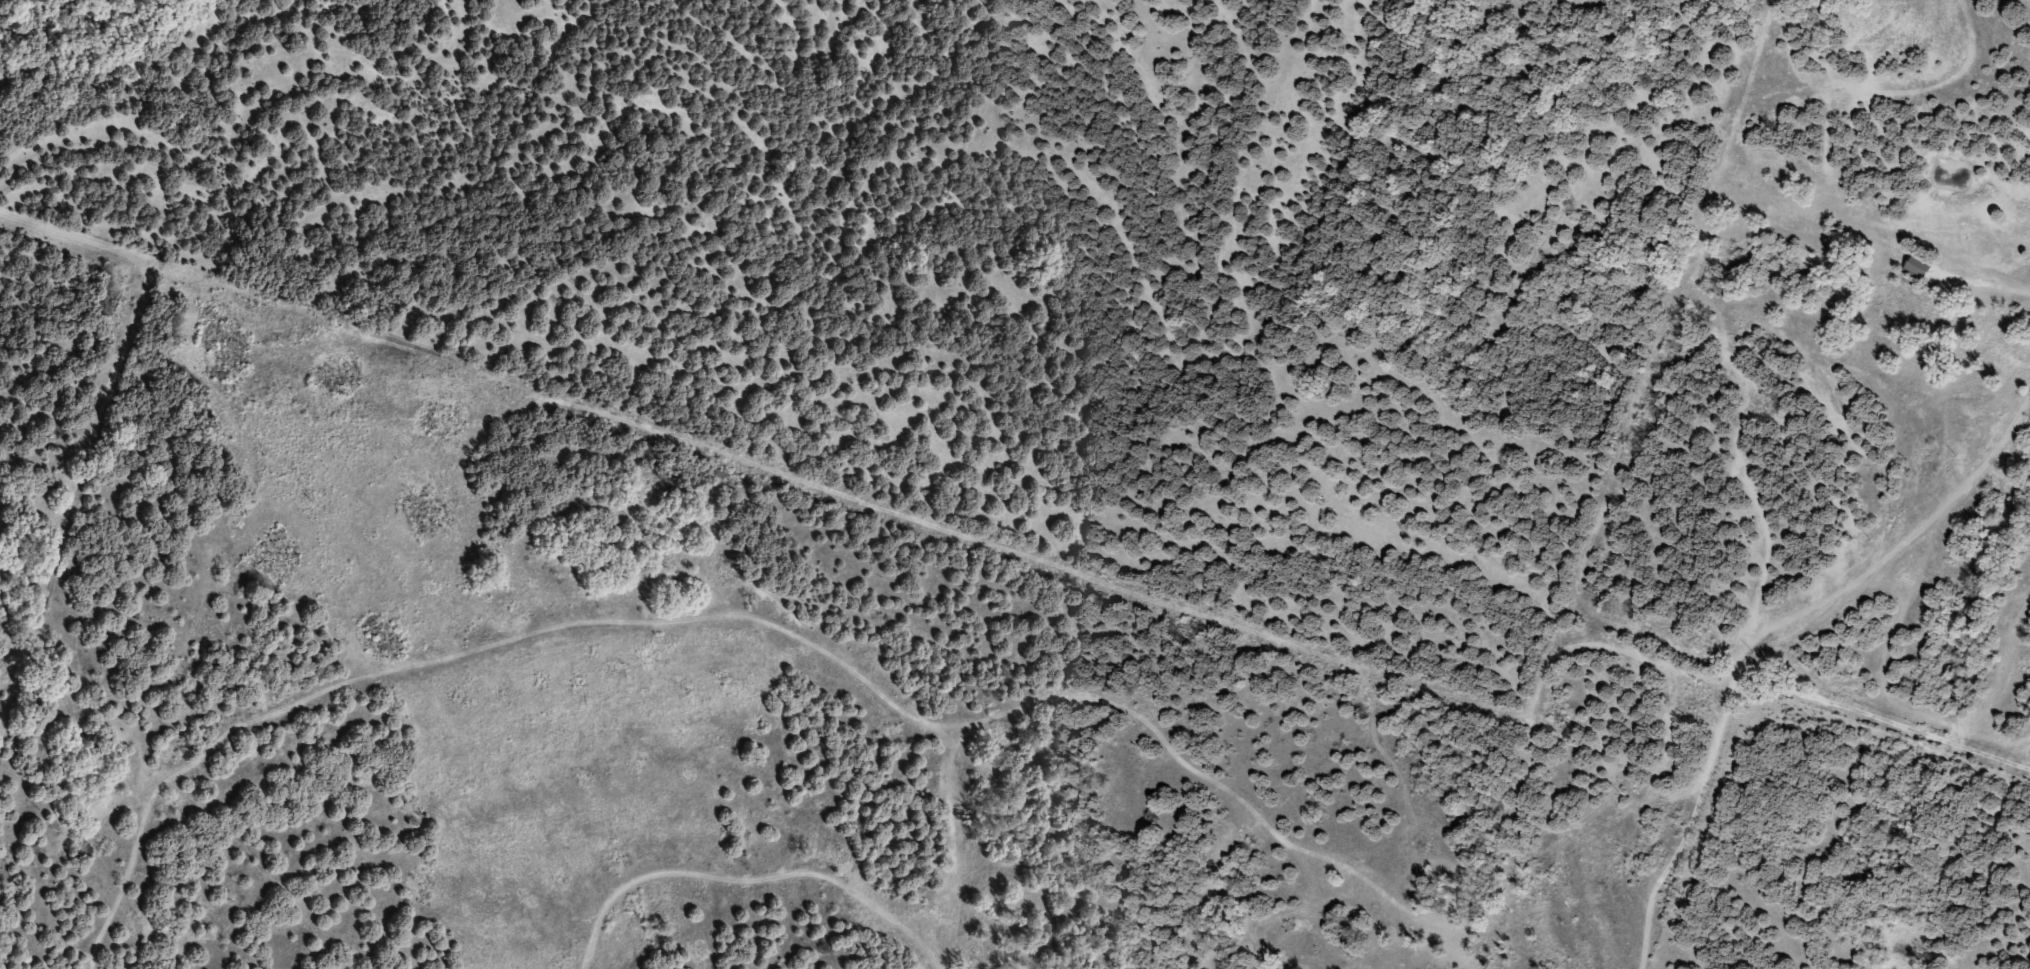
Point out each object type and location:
building: (1918, 269)

